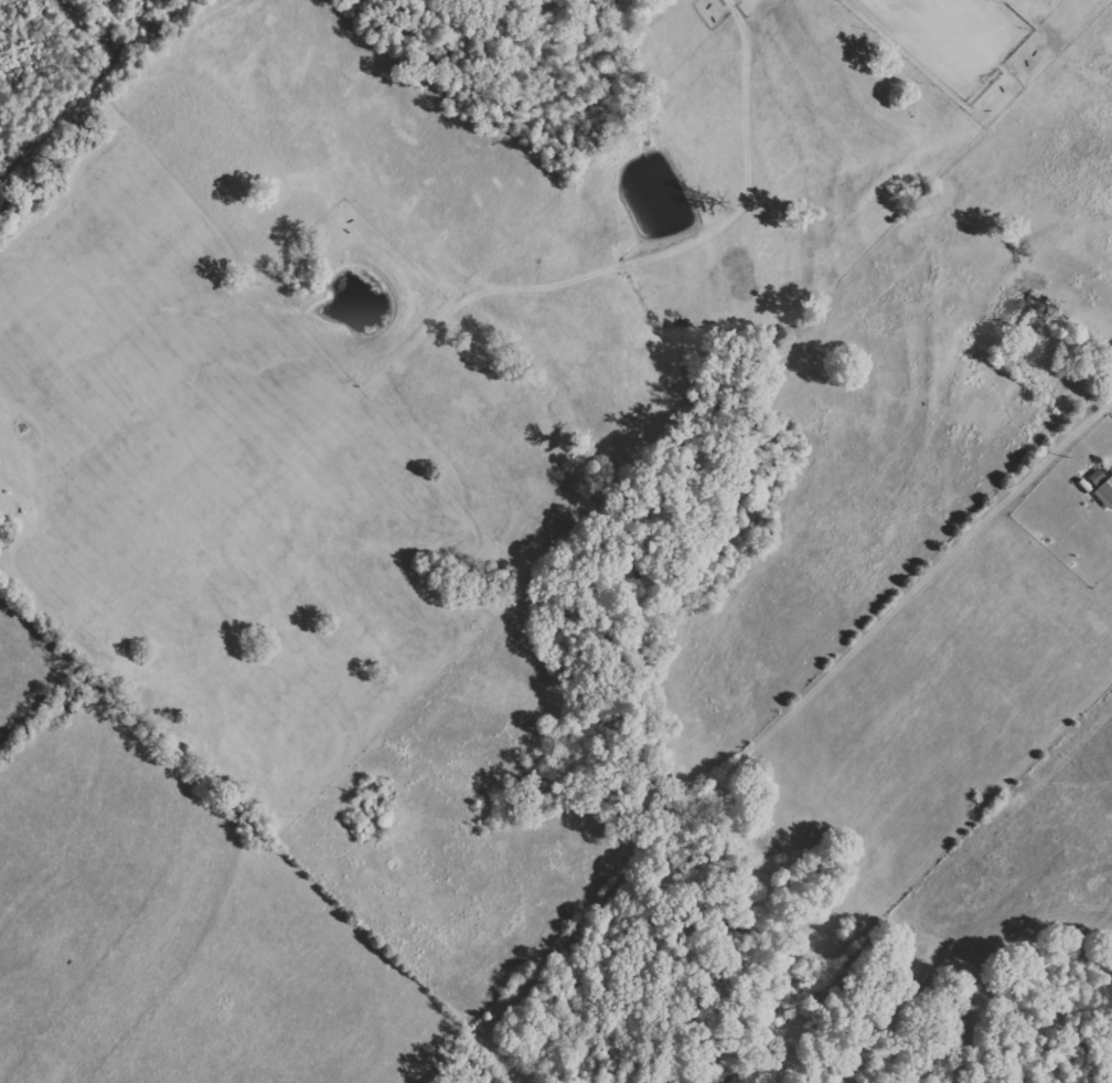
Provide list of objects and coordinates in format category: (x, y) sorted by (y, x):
building: (1103, 488)

